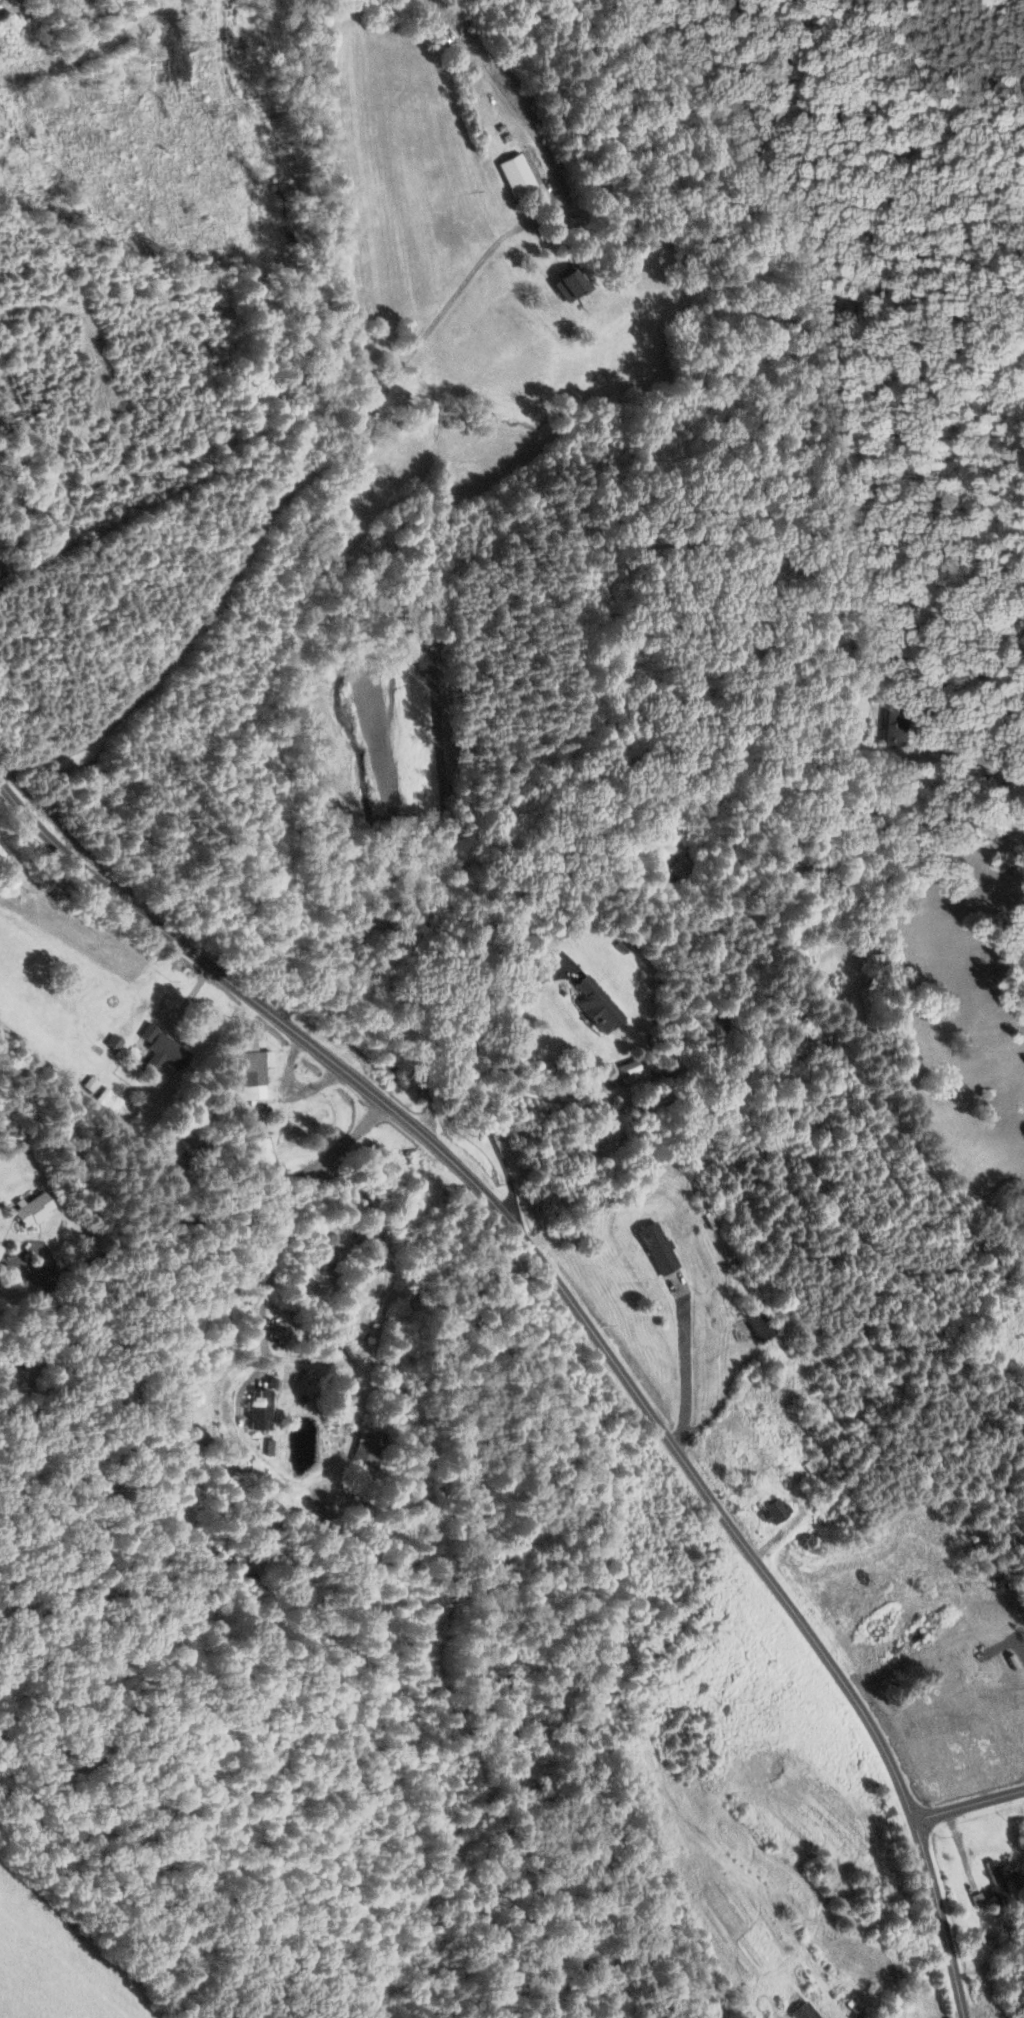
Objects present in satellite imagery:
building: (515, 175)
building: (566, 285)
road: (270, 513)
building: (729, 676)
building: (893, 723)
road: (962, 735)
building: (668, 876)
building: (594, 1002)
building: (159, 1047)
road: (467, 1071)
building: (104, 1103)
building: (245, 1125)
road: (138, 1240)
road: (199, 1248)
building: (656, 1248)
road: (21, 1256)
road: (52, 1272)
road: (386, 1307)
road: (586, 1321)
building: (759, 1324)
road: (29, 1350)
road: (366, 1390)
building: (258, 1409)
building: (368, 1448)
building: (772, 1509)
building: (248, 1571)
building: (924, 1718)
road: (968, 1804)
building: (998, 1883)
building: (802, 2012)

